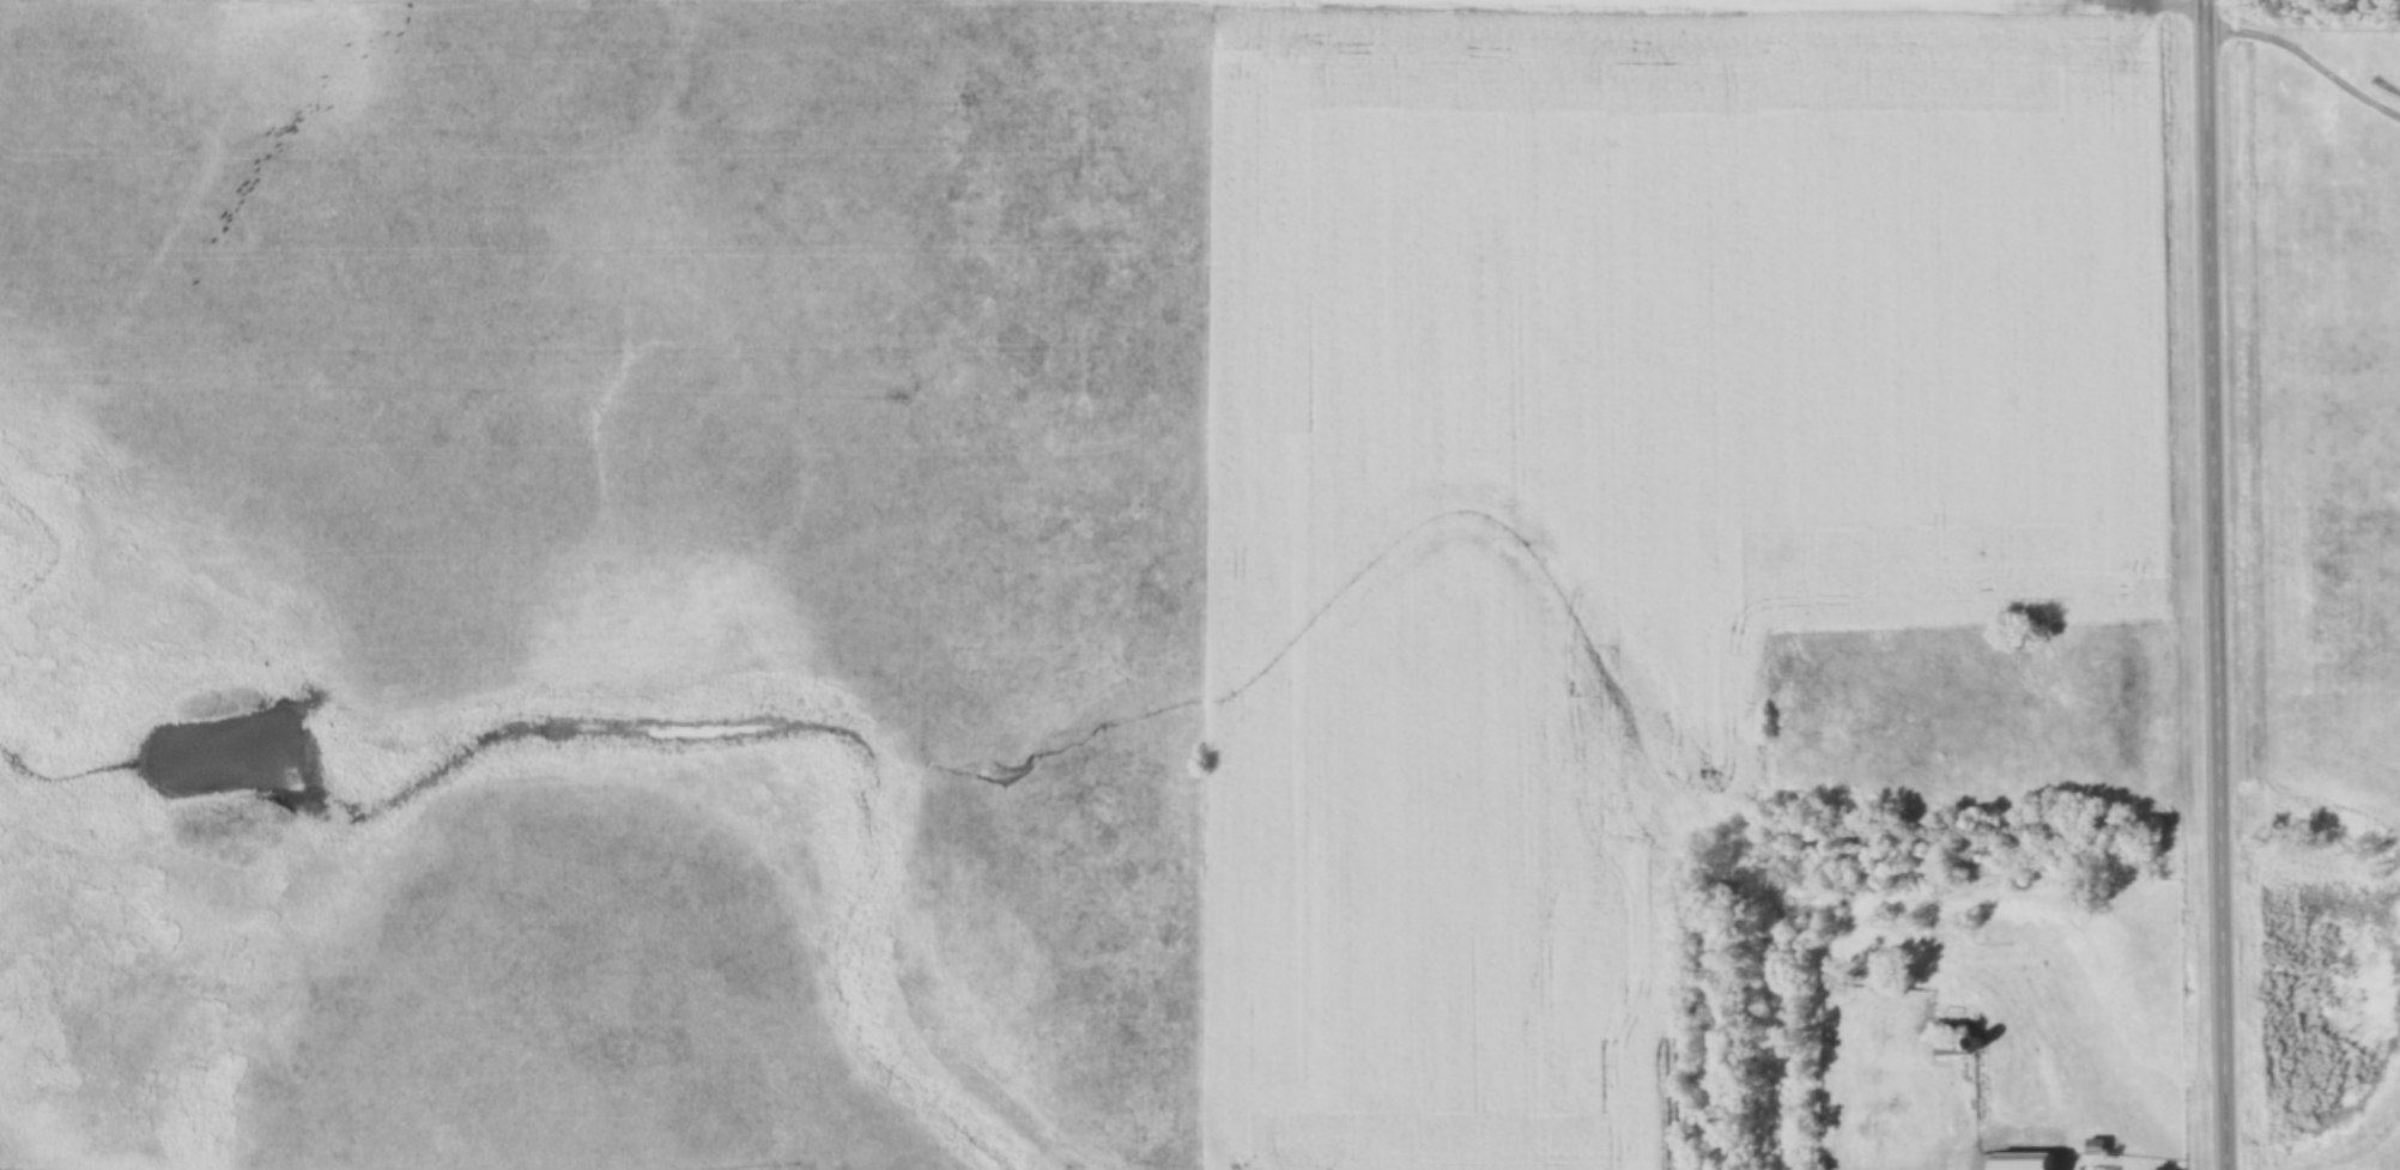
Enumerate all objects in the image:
road: (2216, 584)
building: (1953, 1048)
building: (1993, 1163)

